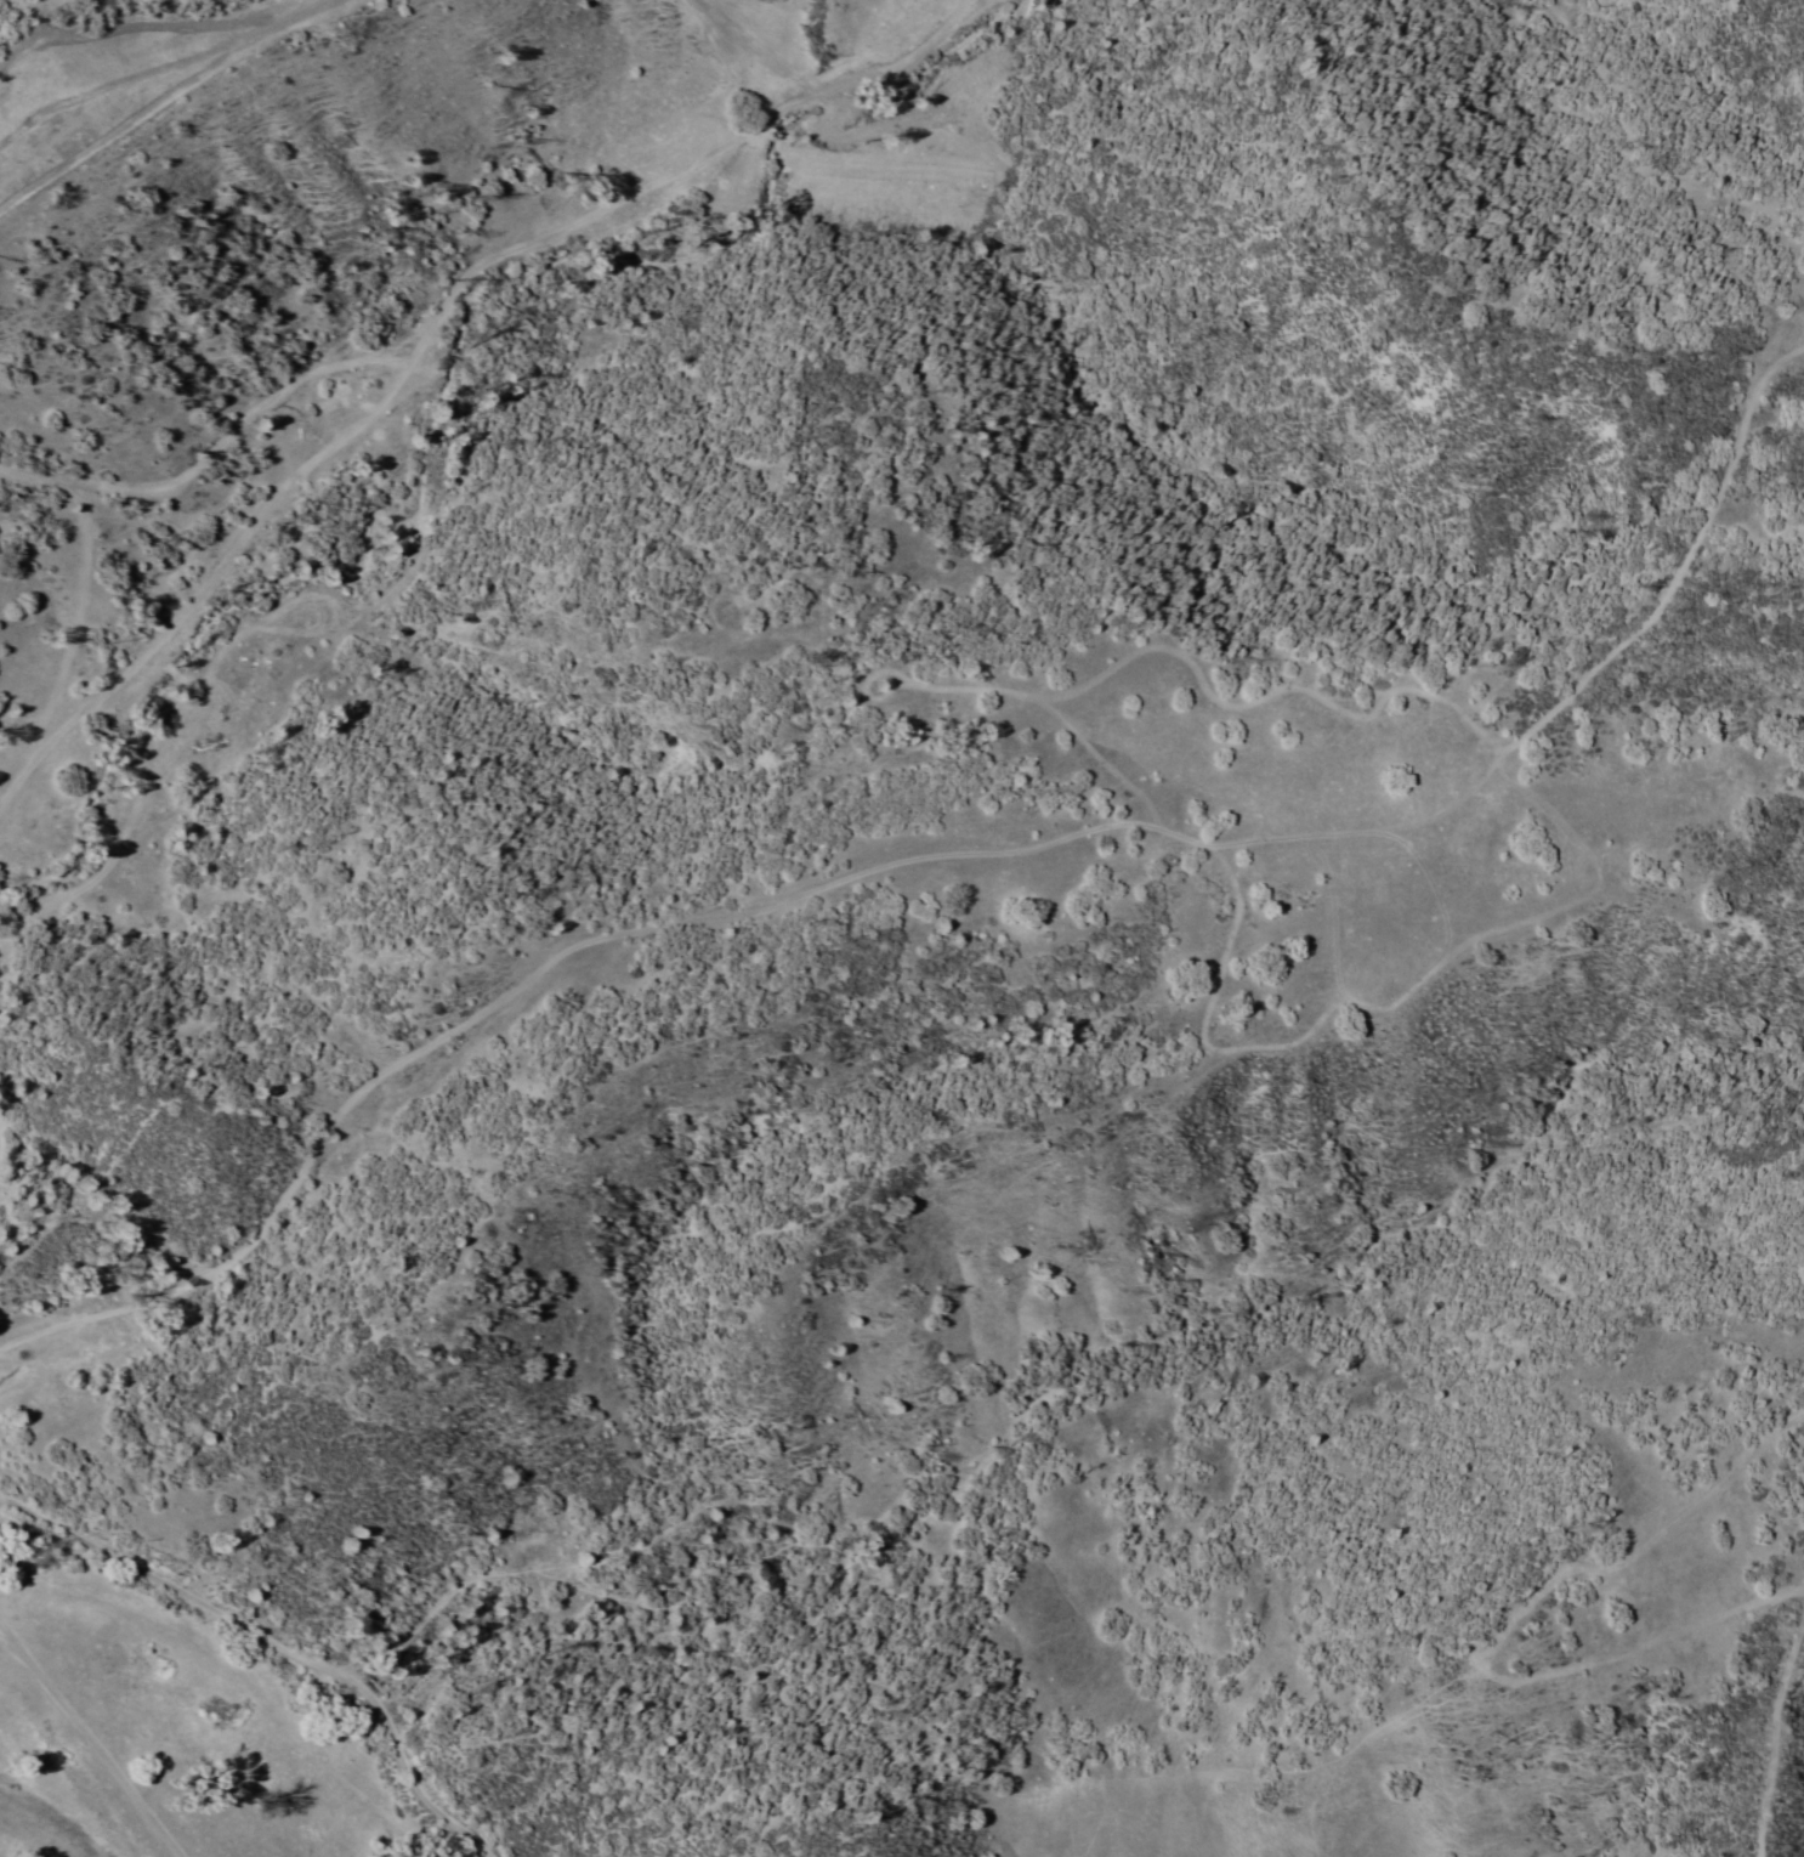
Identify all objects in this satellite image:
road: (273, 1644)

